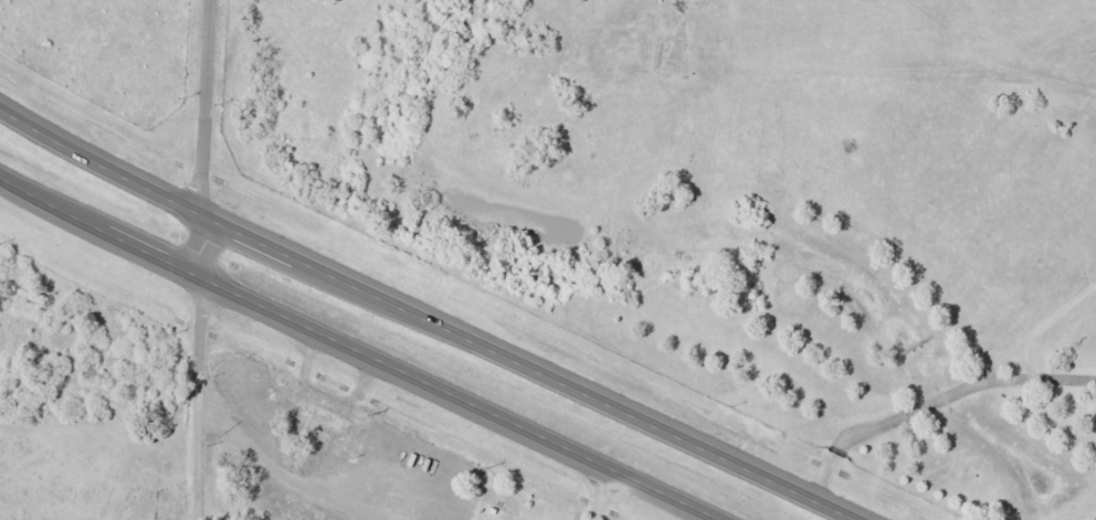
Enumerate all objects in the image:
road: (209, 104)
road: (197, 241)
road: (434, 316)
road: (359, 350)
road: (193, 396)
road: (932, 416)

